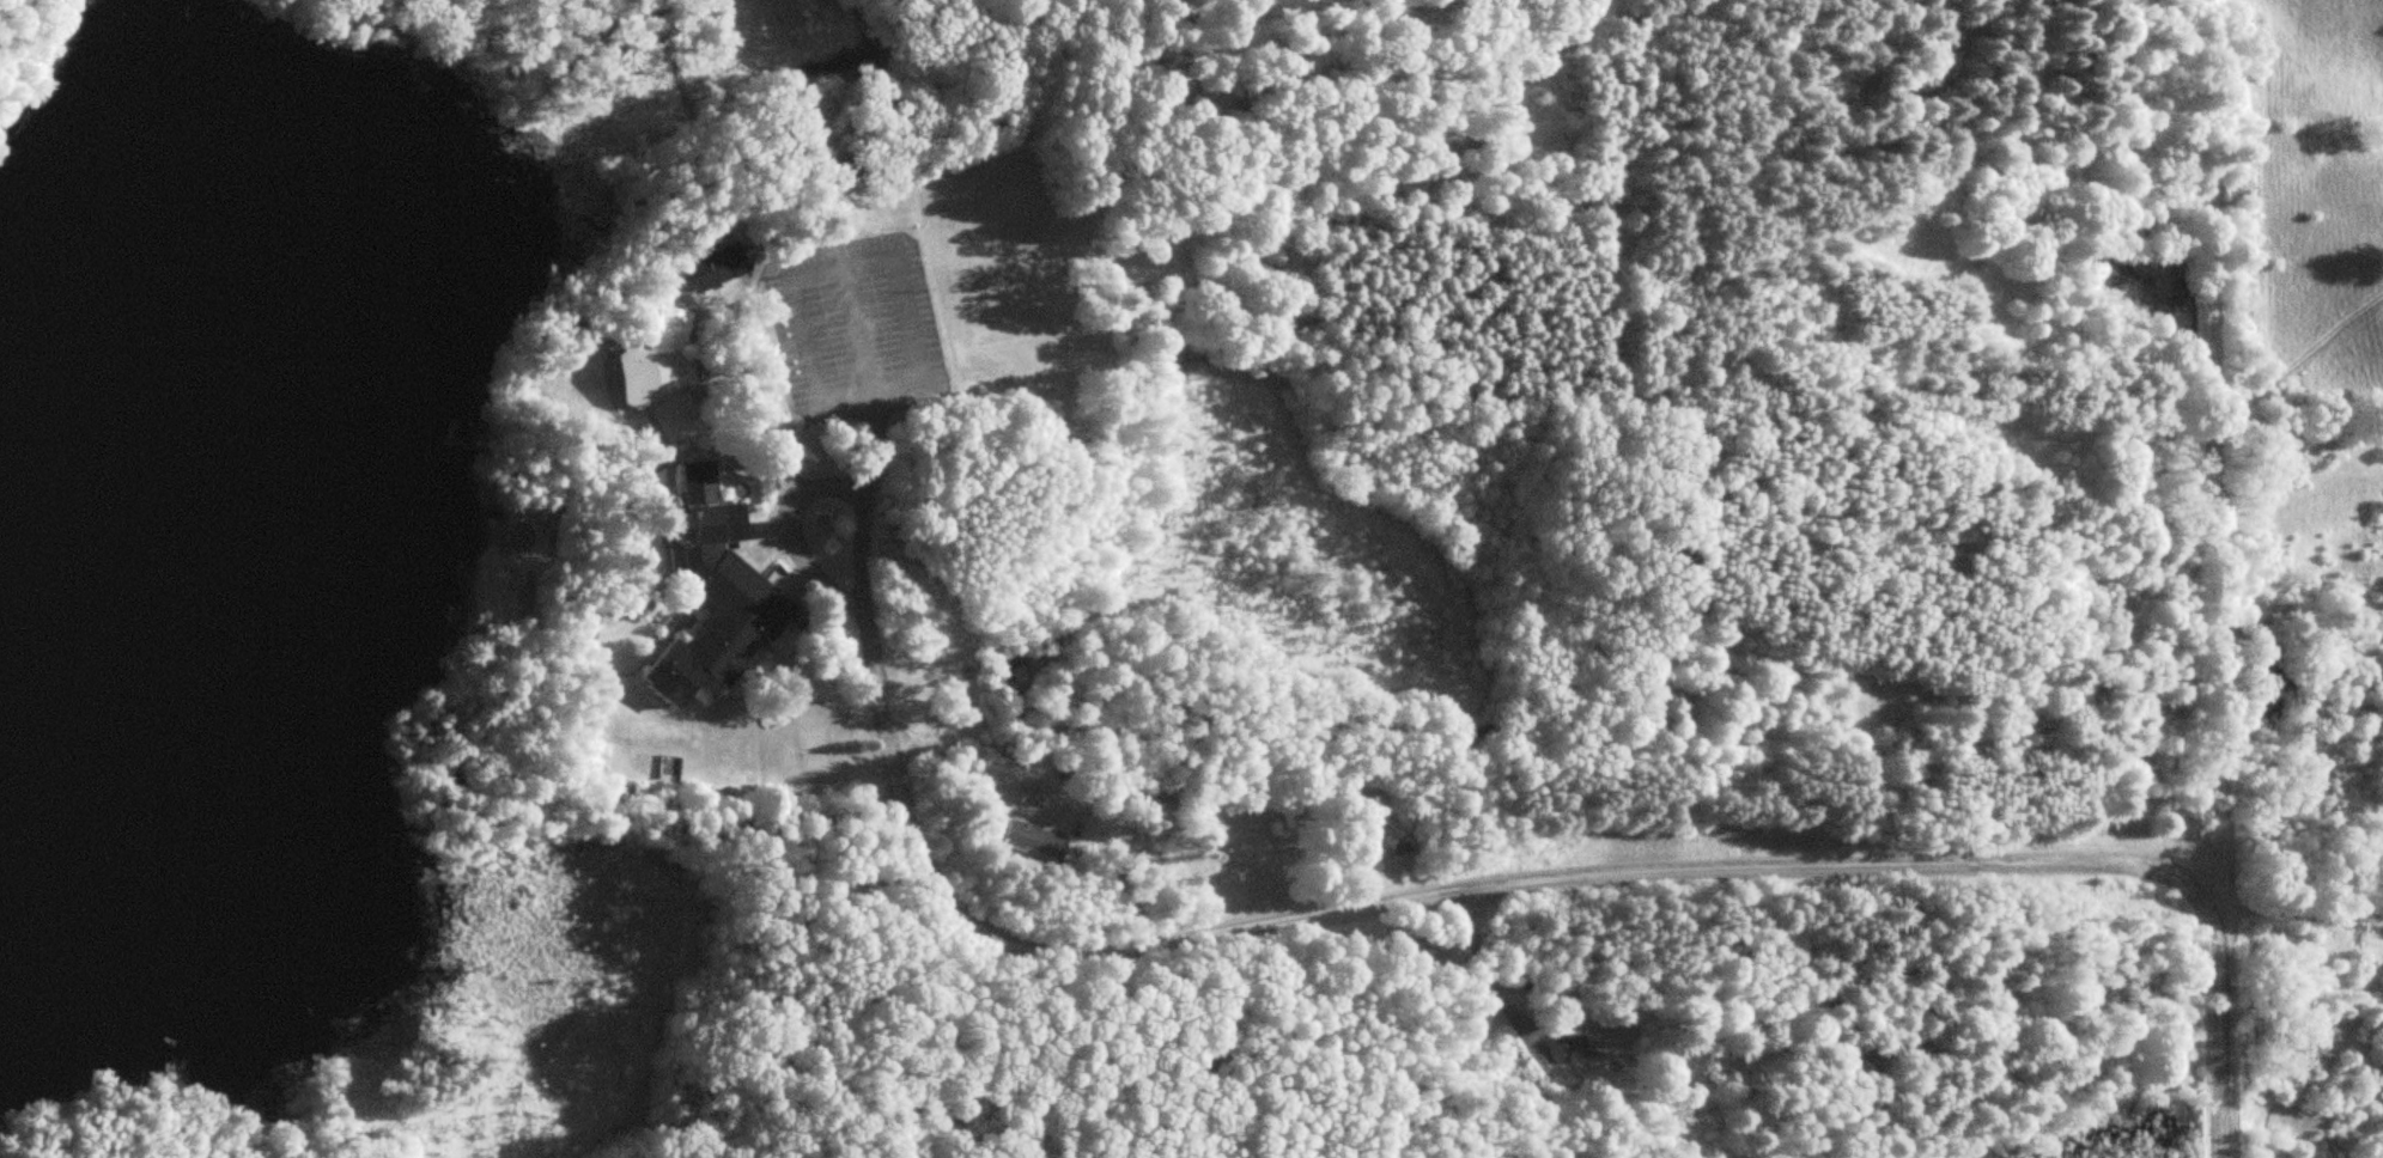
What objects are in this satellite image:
building: (717, 266)
building: (667, 373)
road: (2214, 458)
road: (807, 561)
building: (719, 593)
building: (1038, 840)
road: (1336, 909)
road: (2218, 1036)
building: (1579, 1047)

